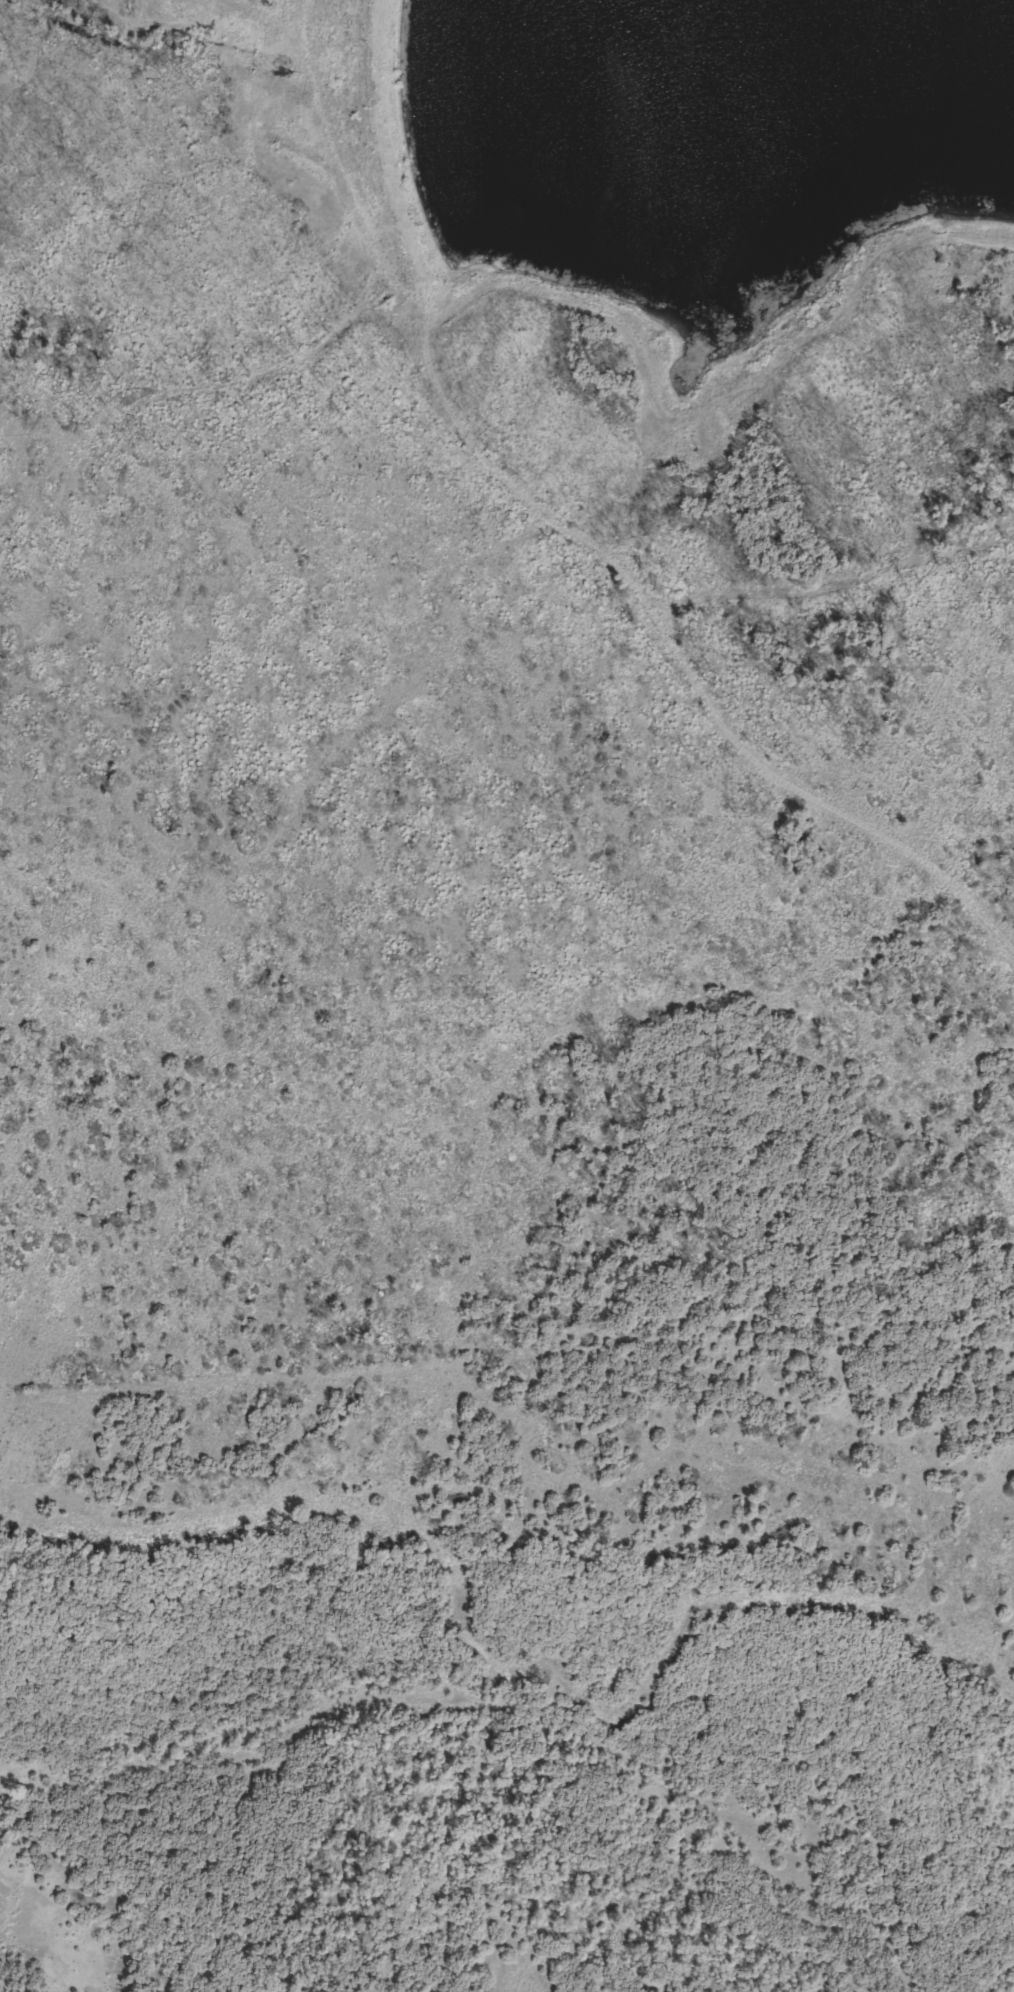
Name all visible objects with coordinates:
road: (305, 352)
road: (11, 828)

